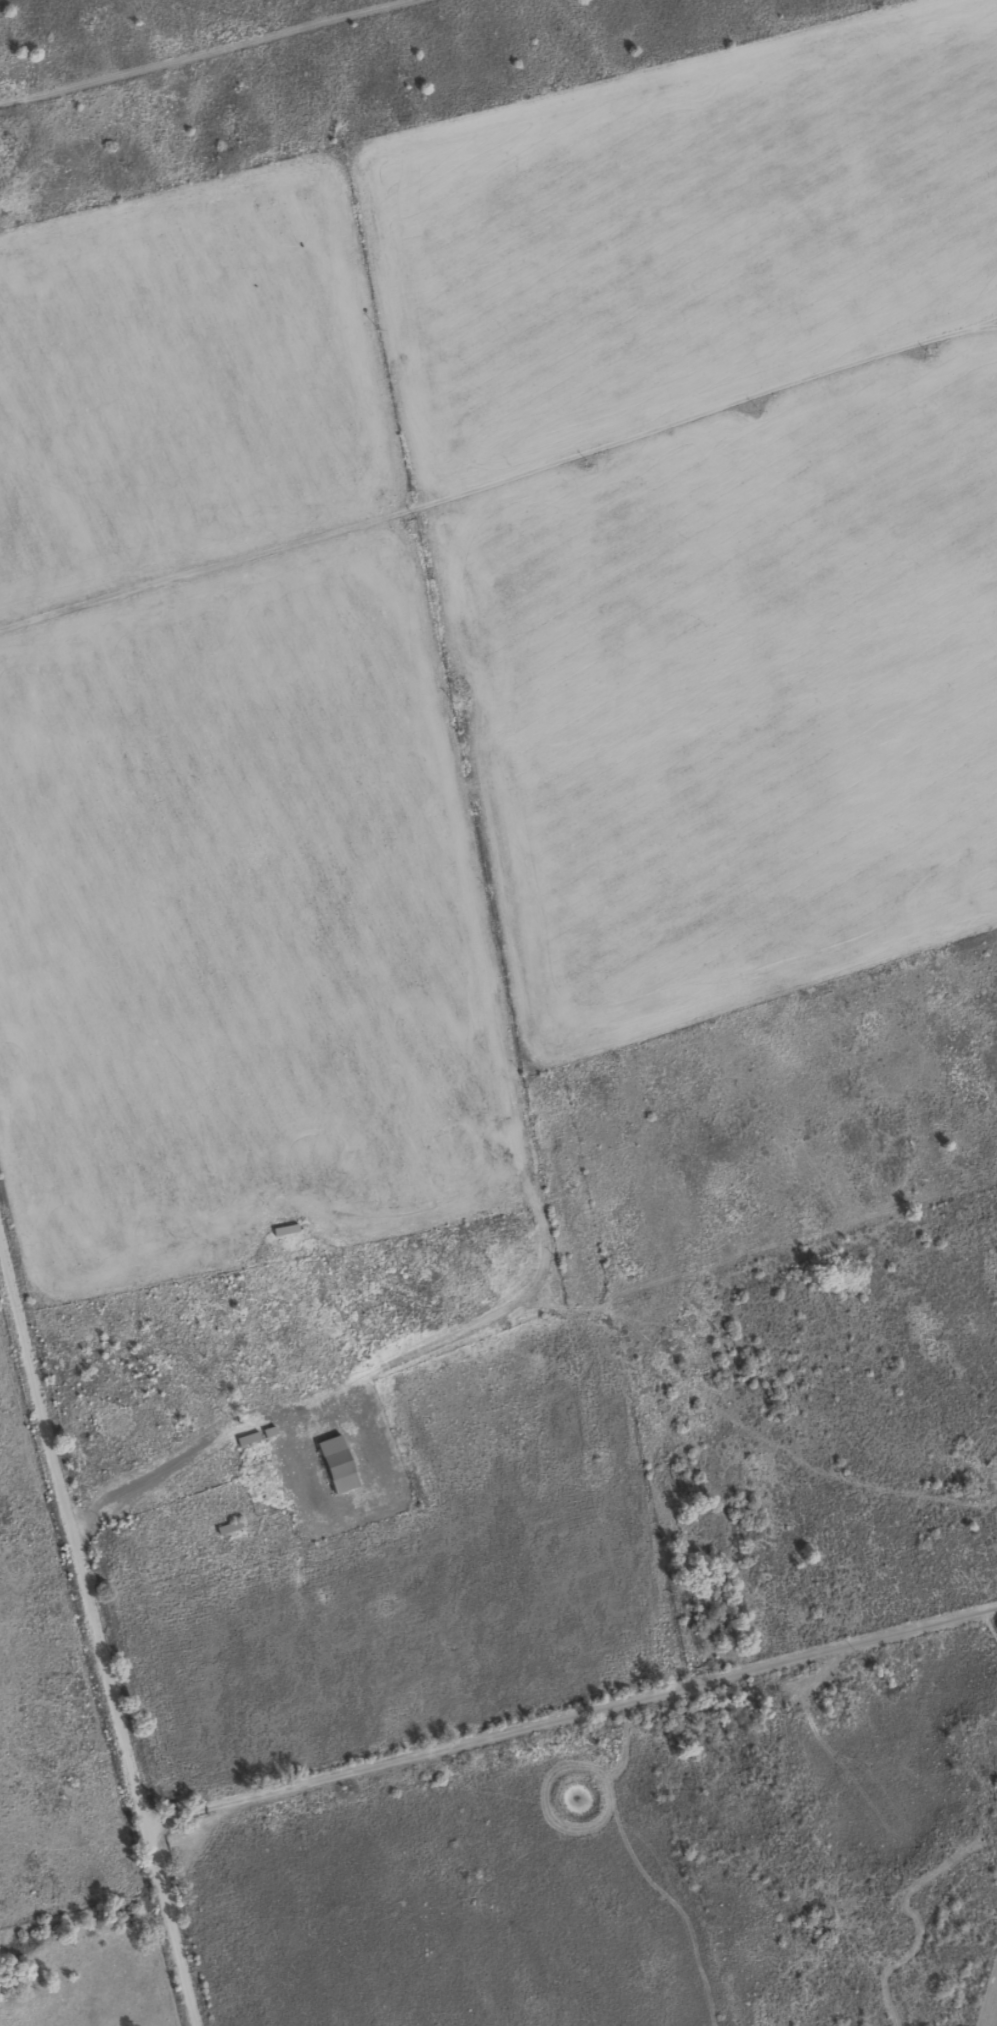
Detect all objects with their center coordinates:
road: (979, 321)
road: (979, 327)
road: (482, 484)
building: (266, 1431)
building: (244, 1438)
building: (333, 1463)
building: (224, 1526)
road: (95, 1646)
road: (568, 1714)
road: (987, 1995)

